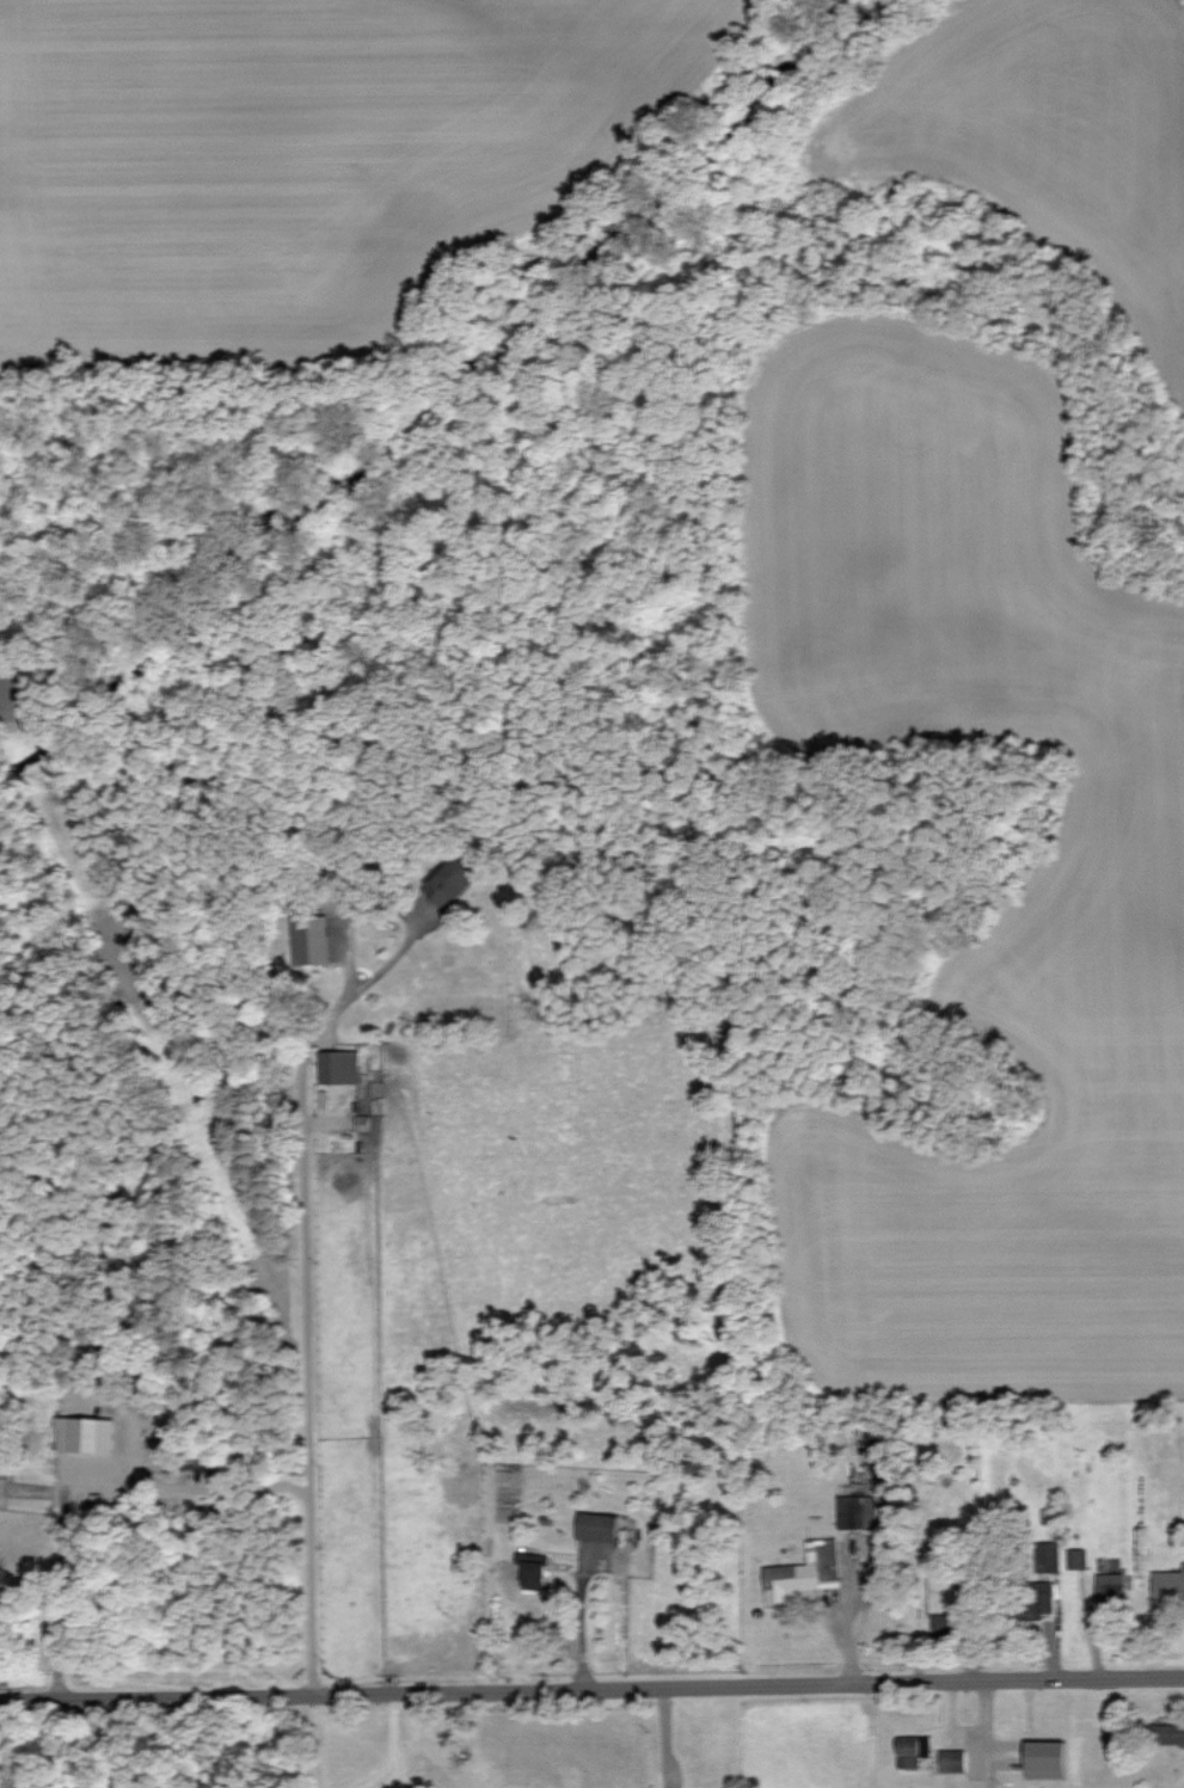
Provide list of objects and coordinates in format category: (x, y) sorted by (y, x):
building: (449, 881)
building: (339, 1067)
building: (363, 1122)
road: (312, 1365)
building: (202, 1460)
building: (0, 1485)
building: (857, 1511)
building: (597, 1525)
building: (1050, 1556)
building: (1076, 1559)
building: (534, 1569)
building: (804, 1572)
building: (1168, 1585)
building: (1110, 1586)
building: (950, 1623)
road: (591, 1696)
building: (1170, 1733)
road: (397, 1744)
building: (913, 1749)
building: (1045, 1758)
building: (953, 1759)

